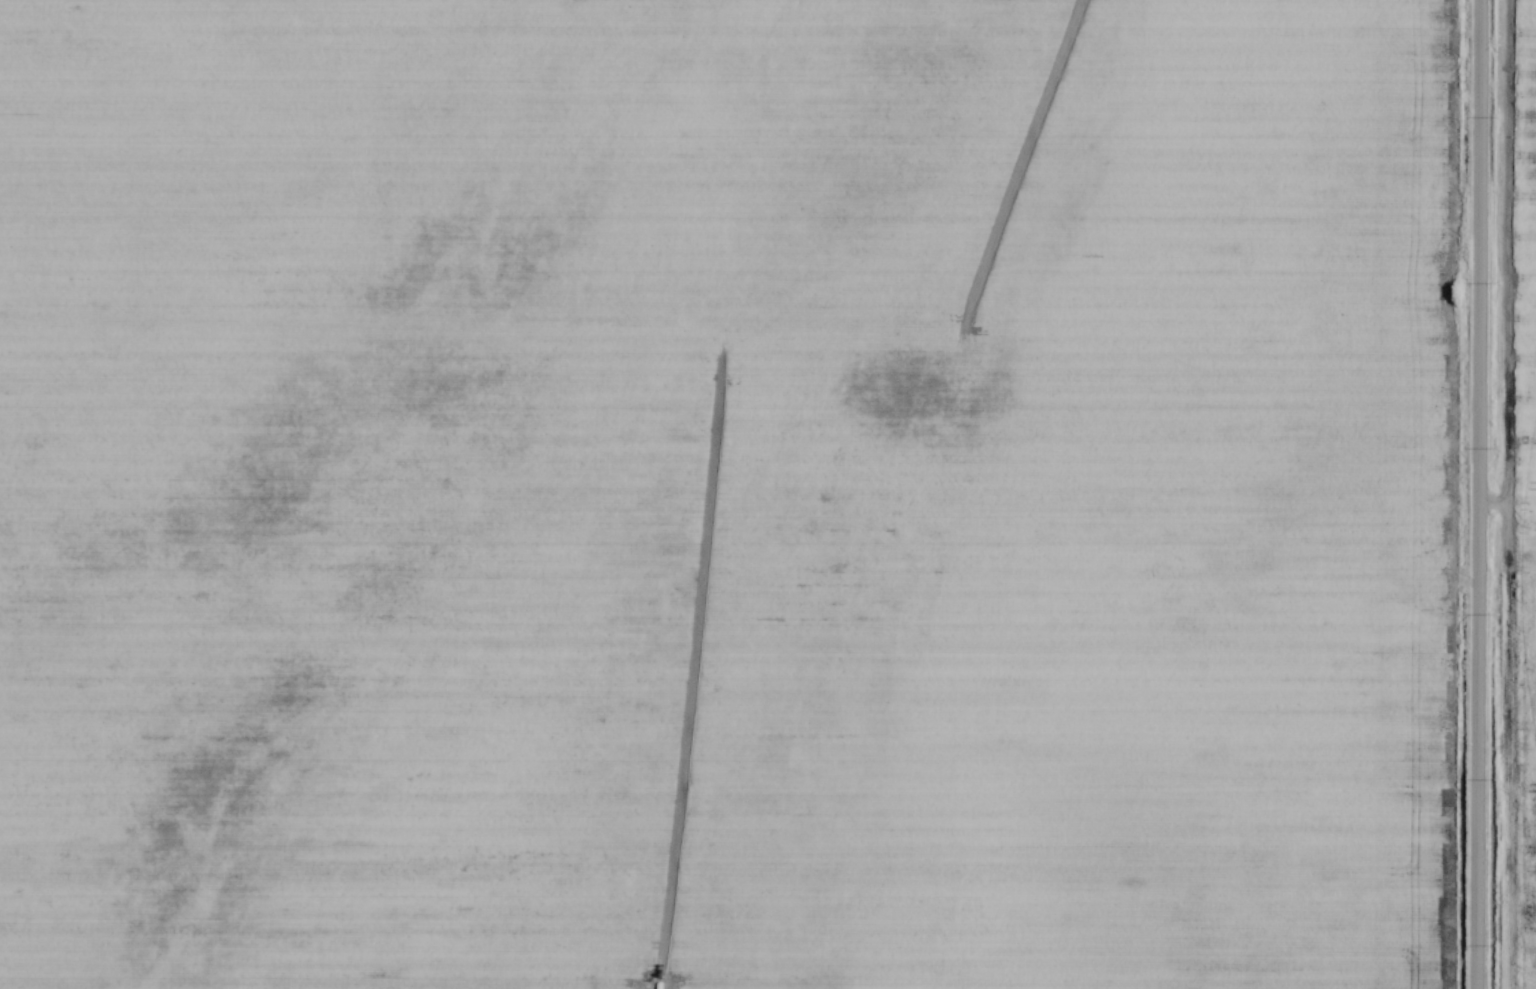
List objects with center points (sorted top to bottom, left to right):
road: (1475, 494)

